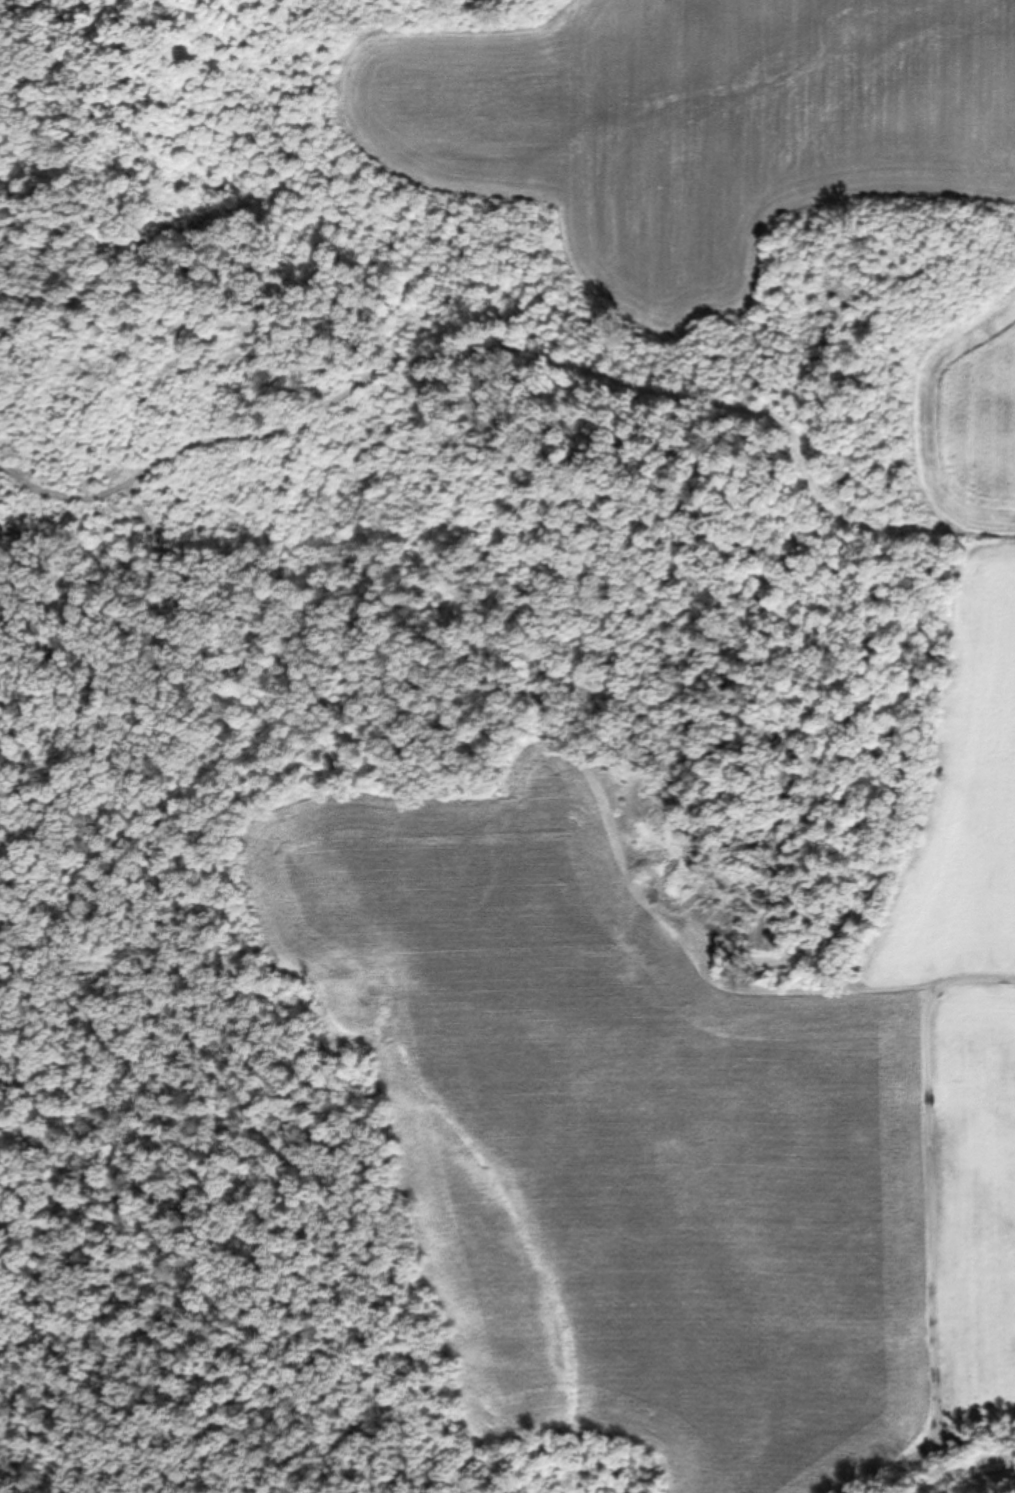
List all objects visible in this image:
road: (975, 980)

